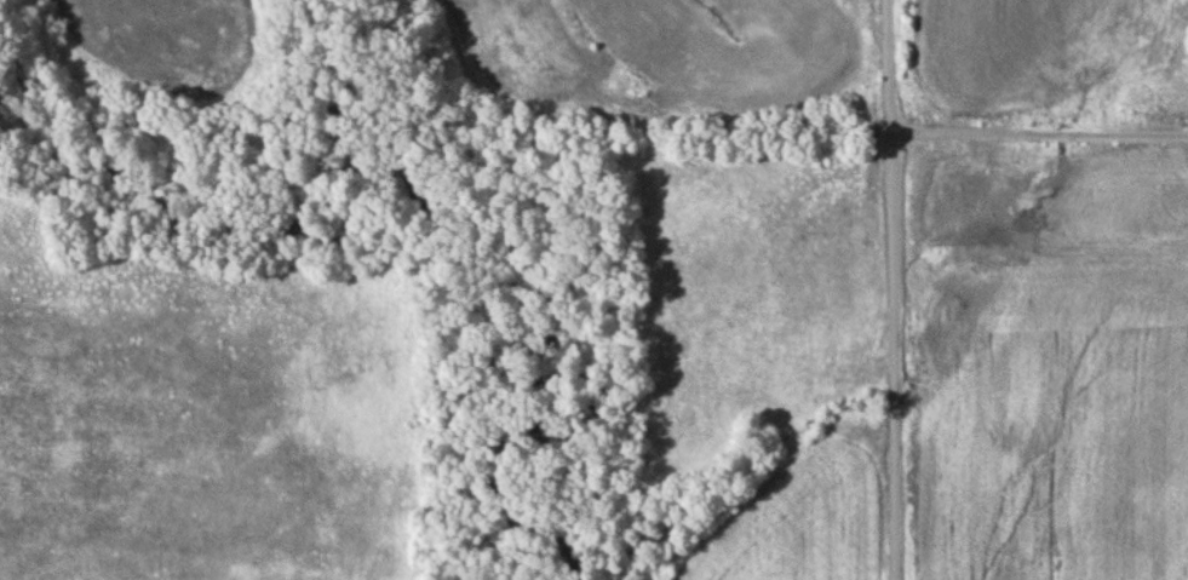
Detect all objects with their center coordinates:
road: (1040, 134)
road: (895, 289)

